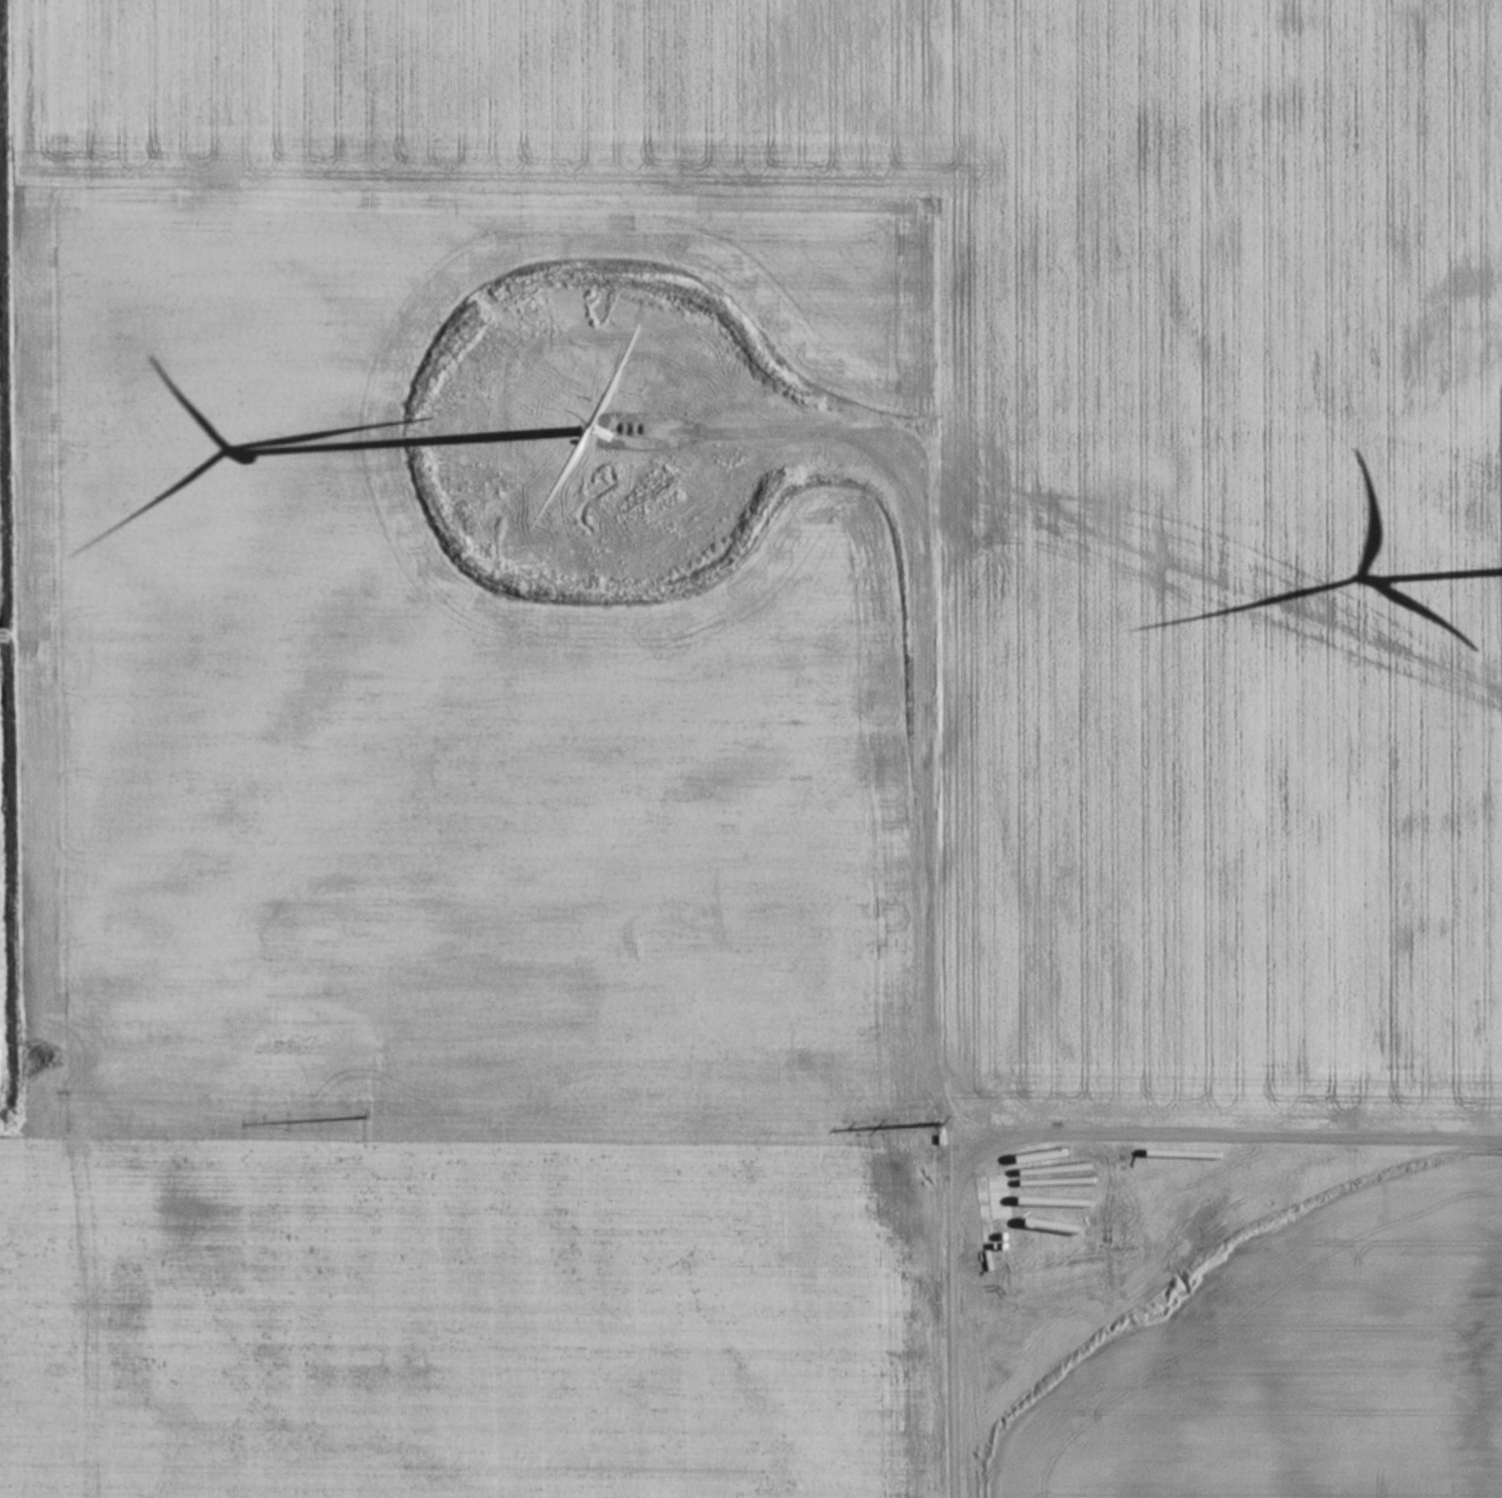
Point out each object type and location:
wind turbine: (588, 435)

